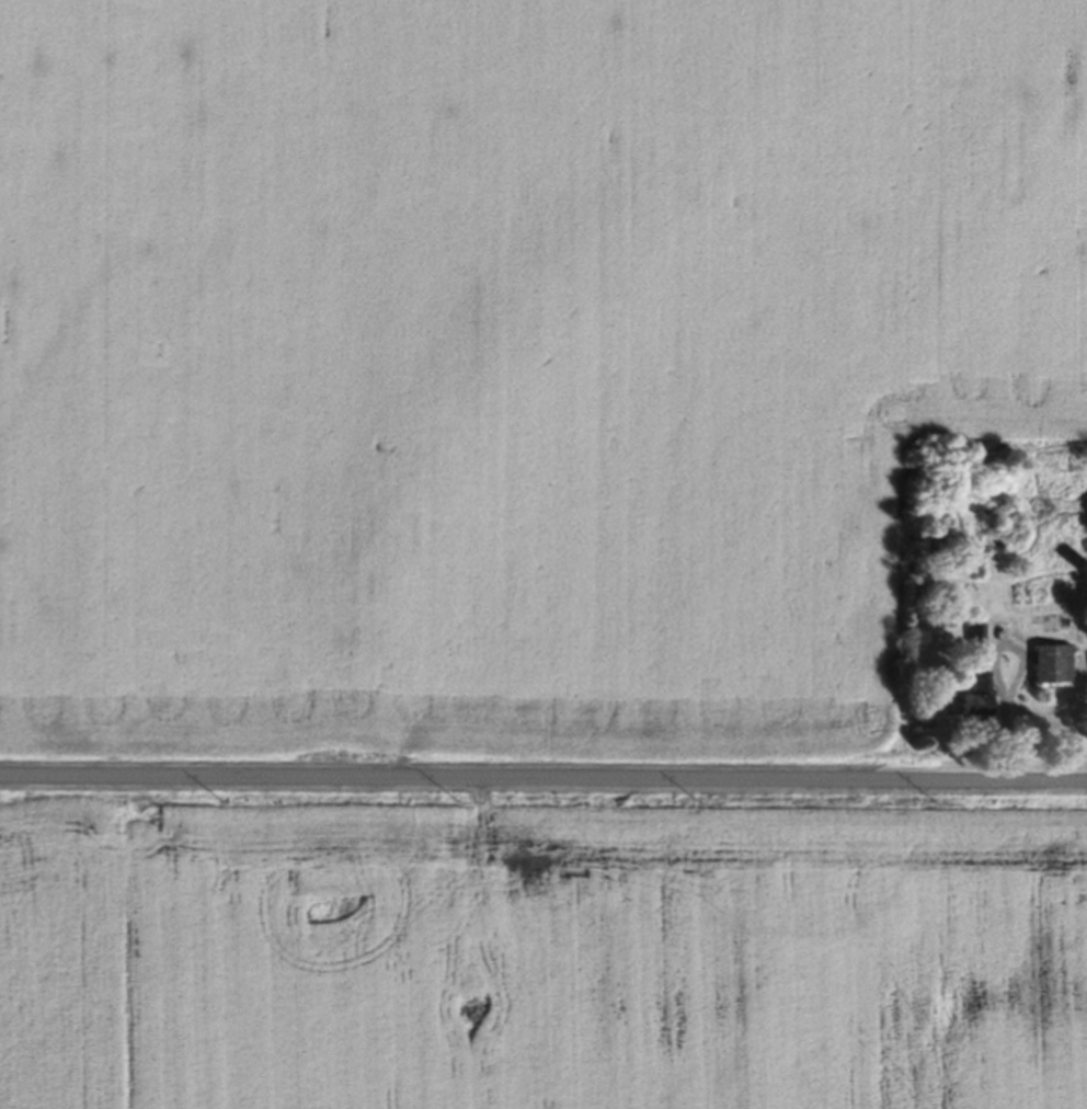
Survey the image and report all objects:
building: (975, 638)
building: (1052, 667)
building: (974, 704)
road: (543, 778)

